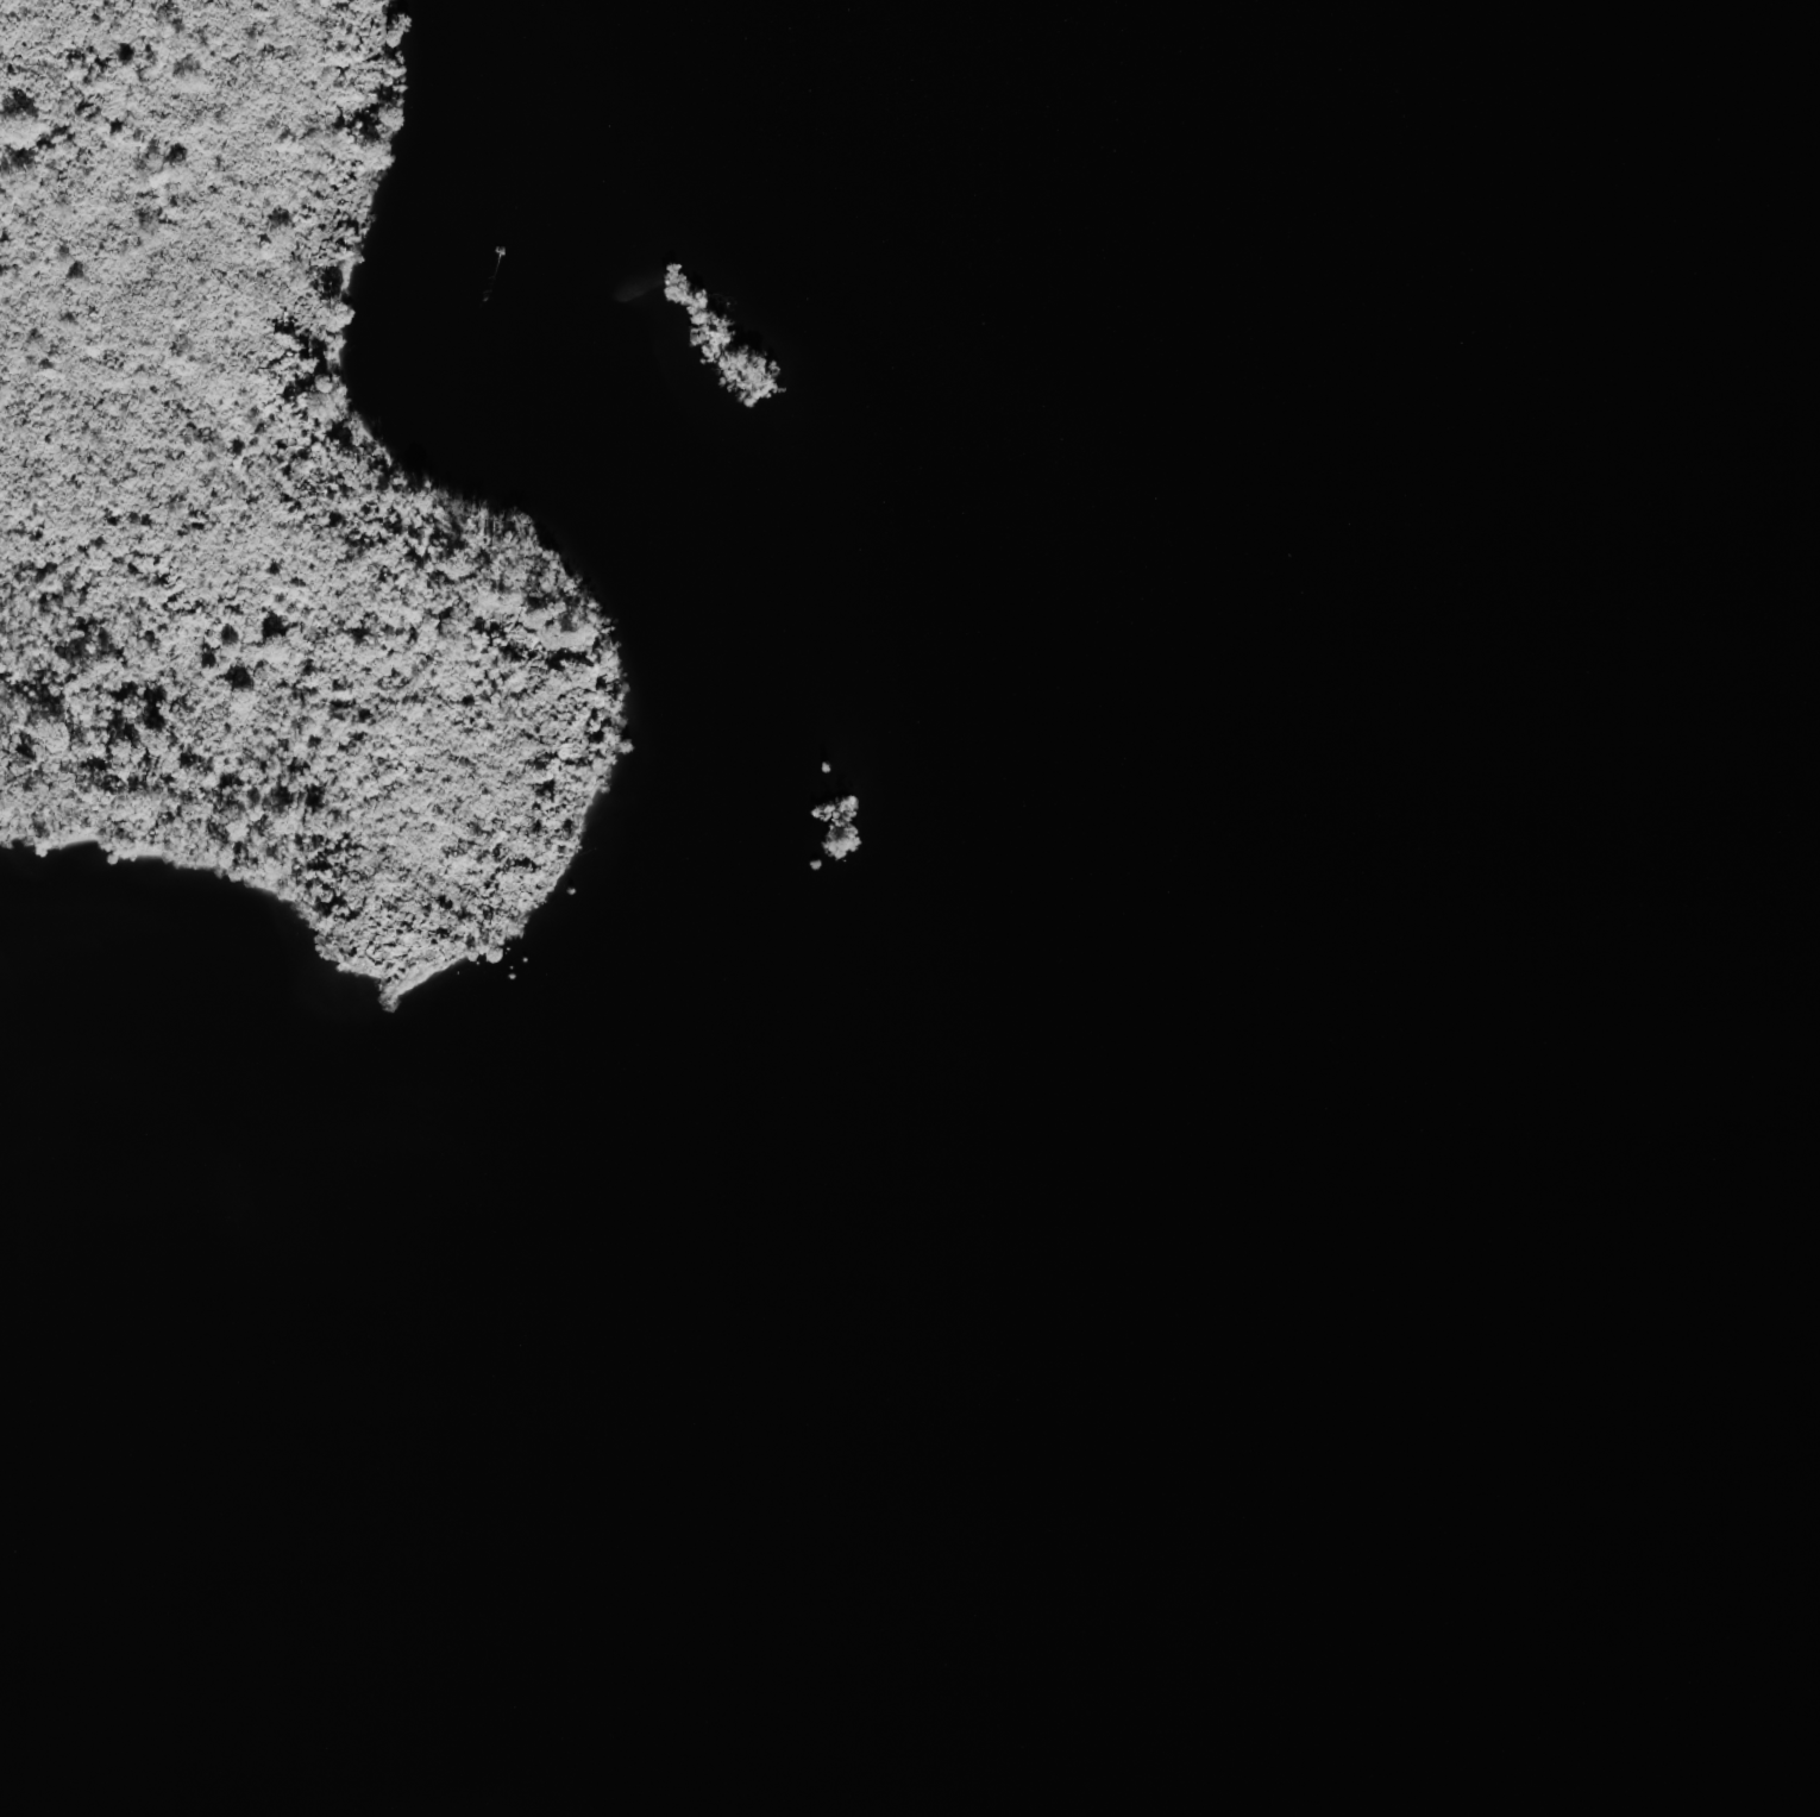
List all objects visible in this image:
river: (1661, 635)

